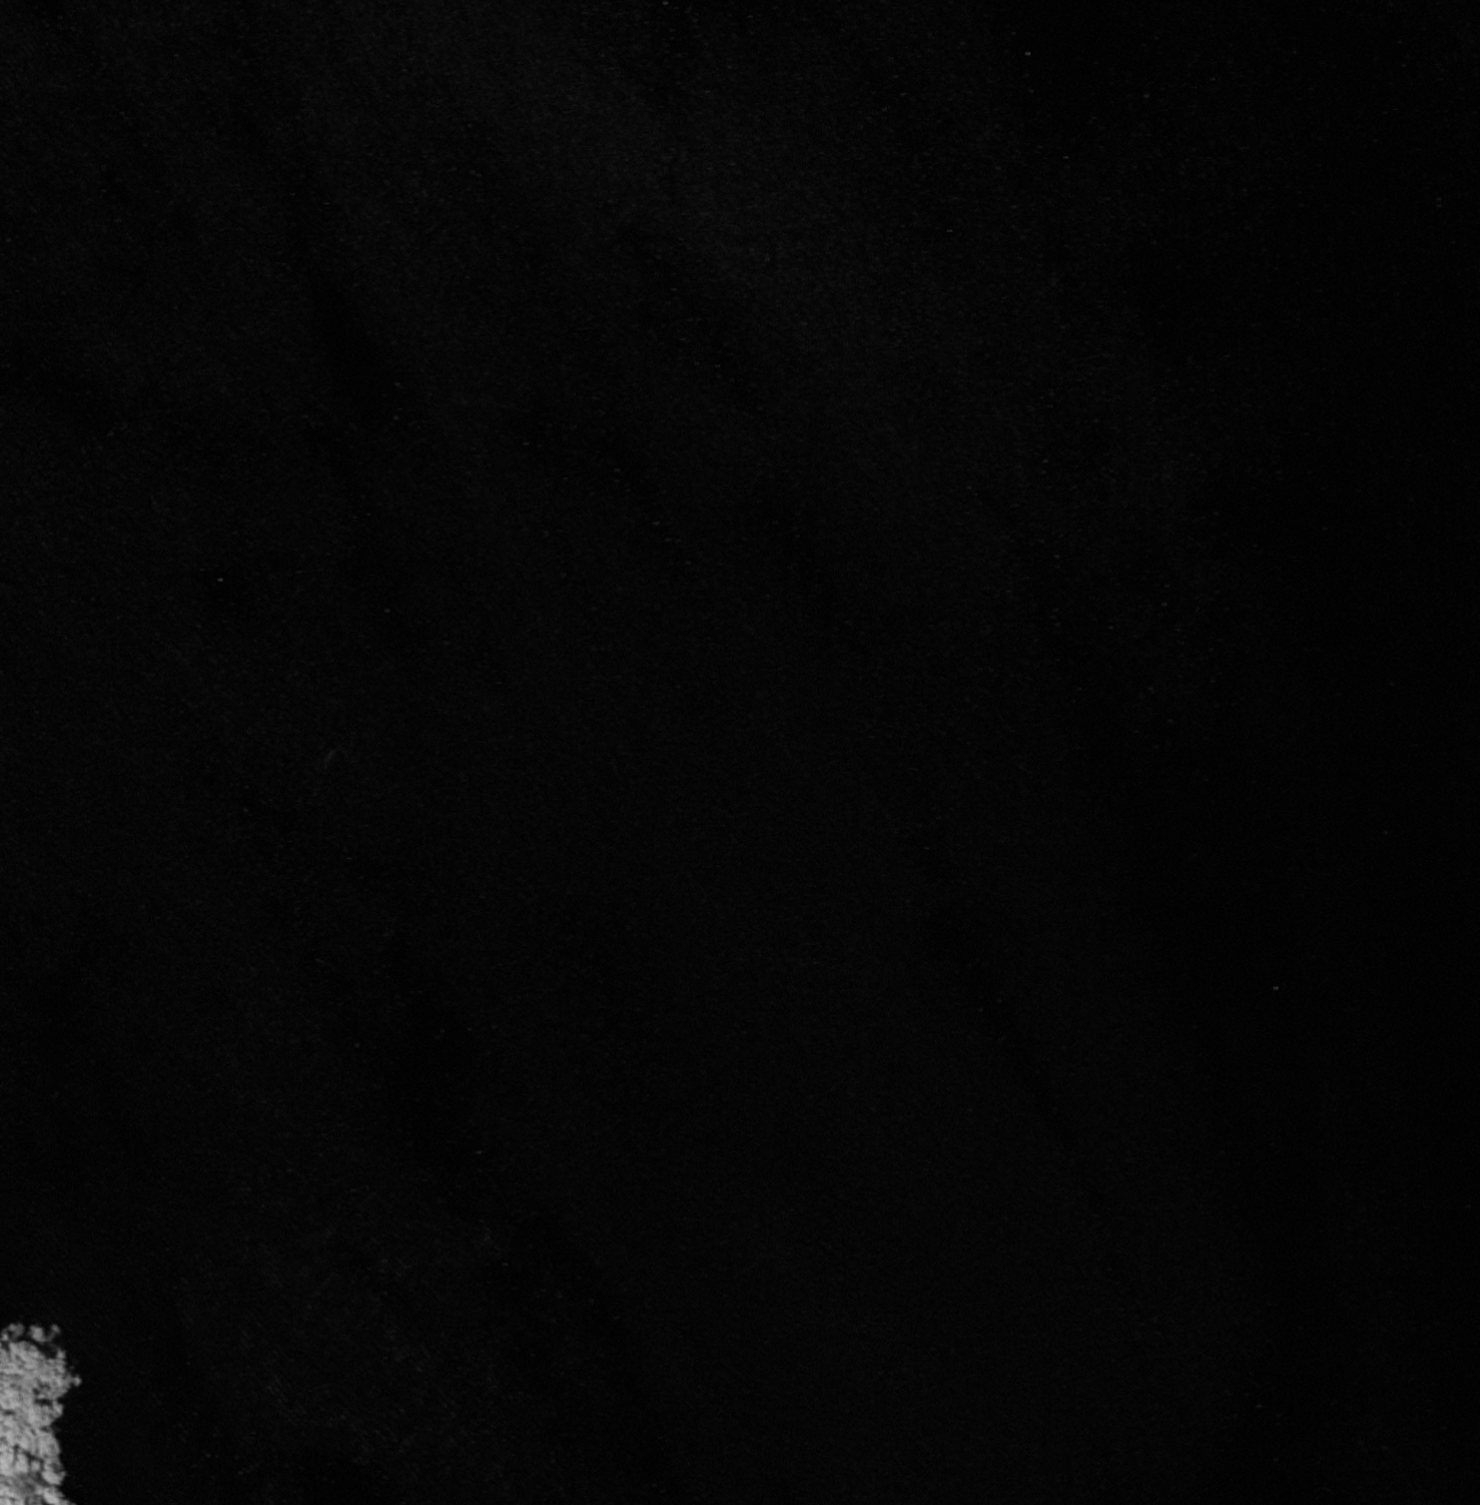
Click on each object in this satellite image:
river: (1425, 132)

